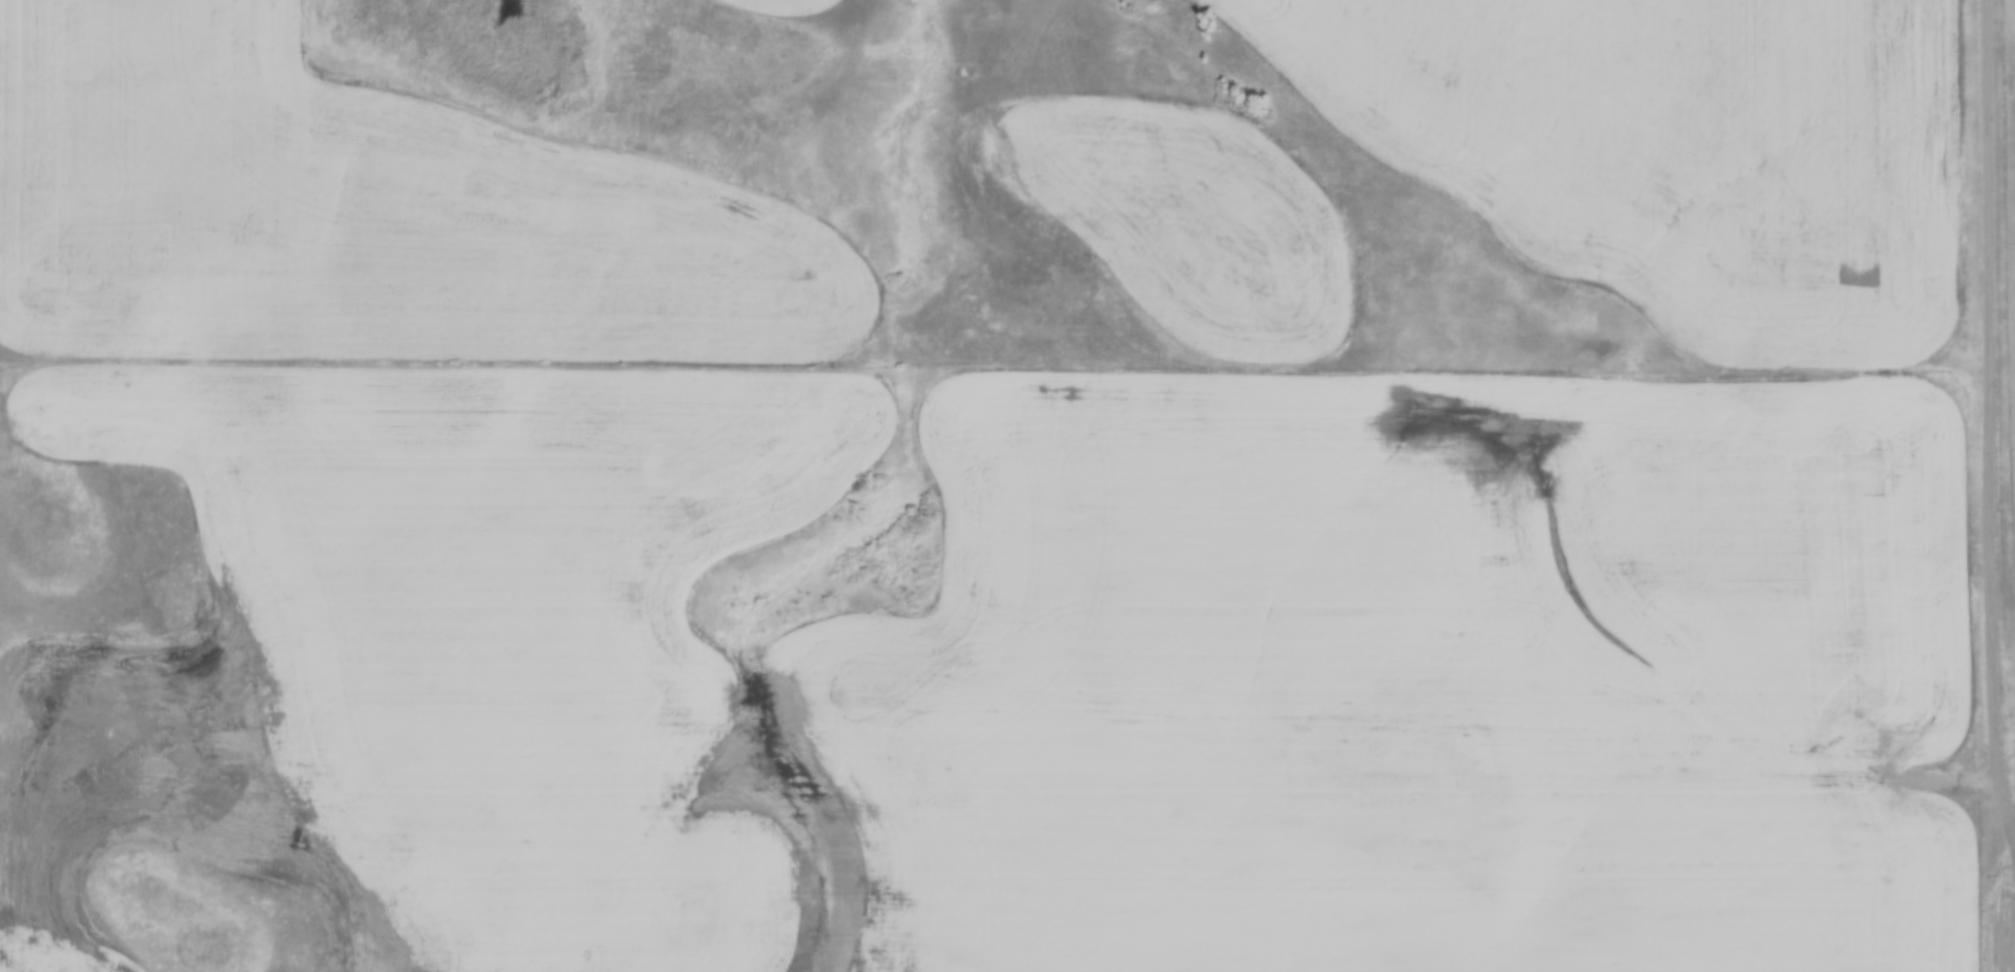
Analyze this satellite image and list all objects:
road: (1986, 425)
road: (1692, 774)

